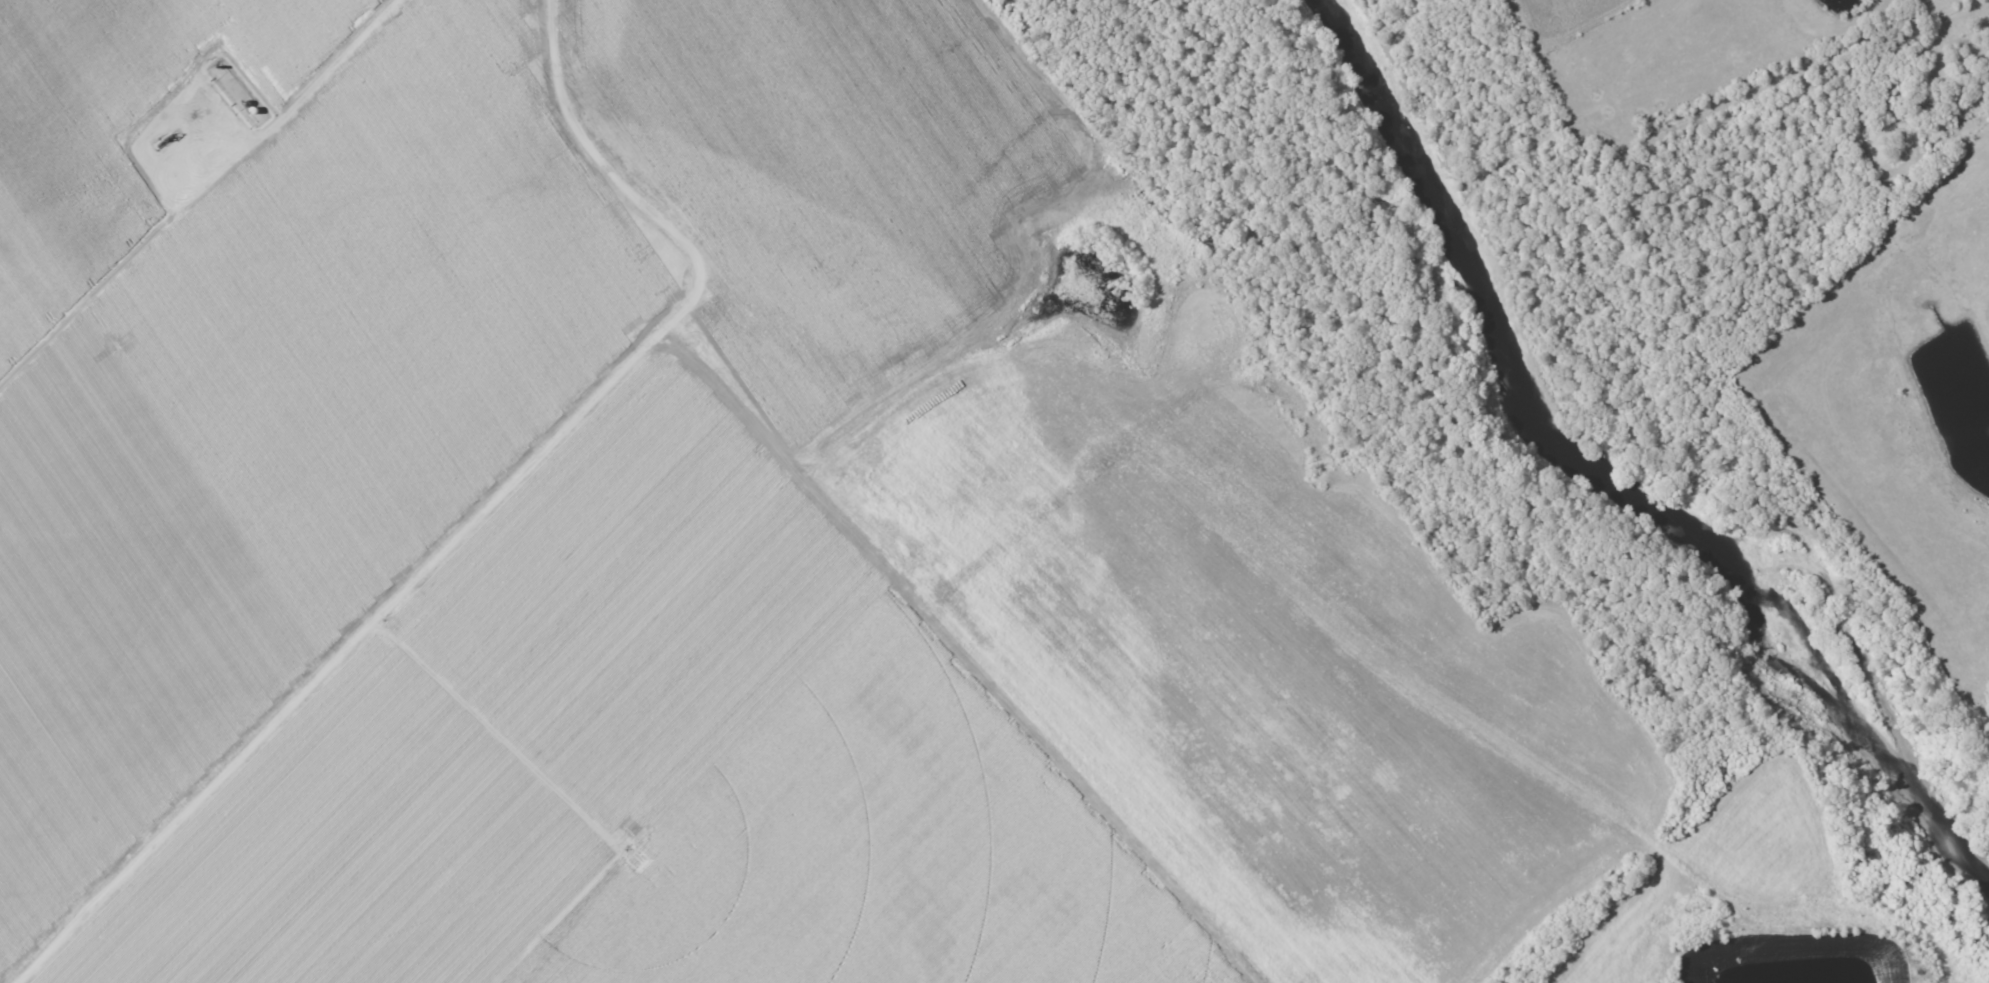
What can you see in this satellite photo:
chimney: (218, 66)
building: (247, 101)
silo: (247, 101)
building: (254, 108)
silo: (254, 108)
petroleum well: (163, 138)
river: (1598, 478)

